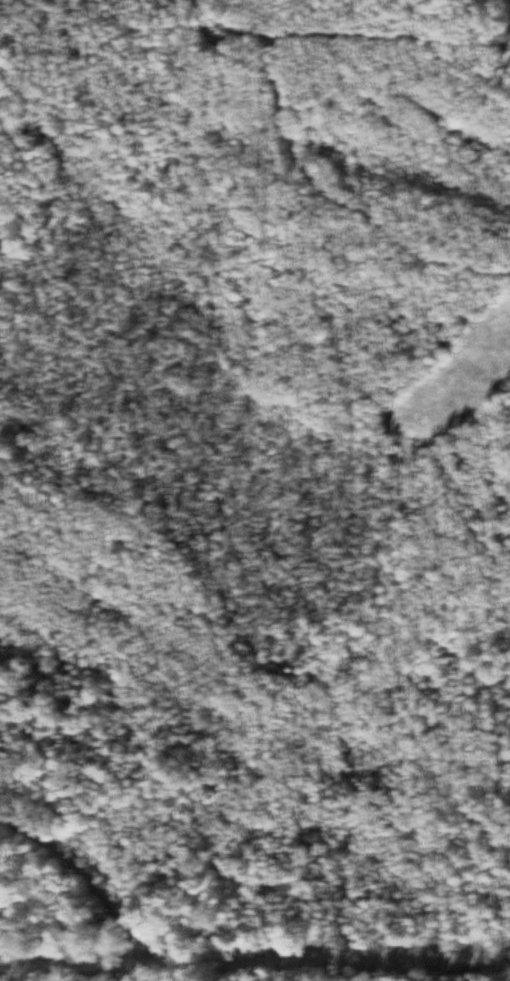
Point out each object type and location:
road: (255, 961)

